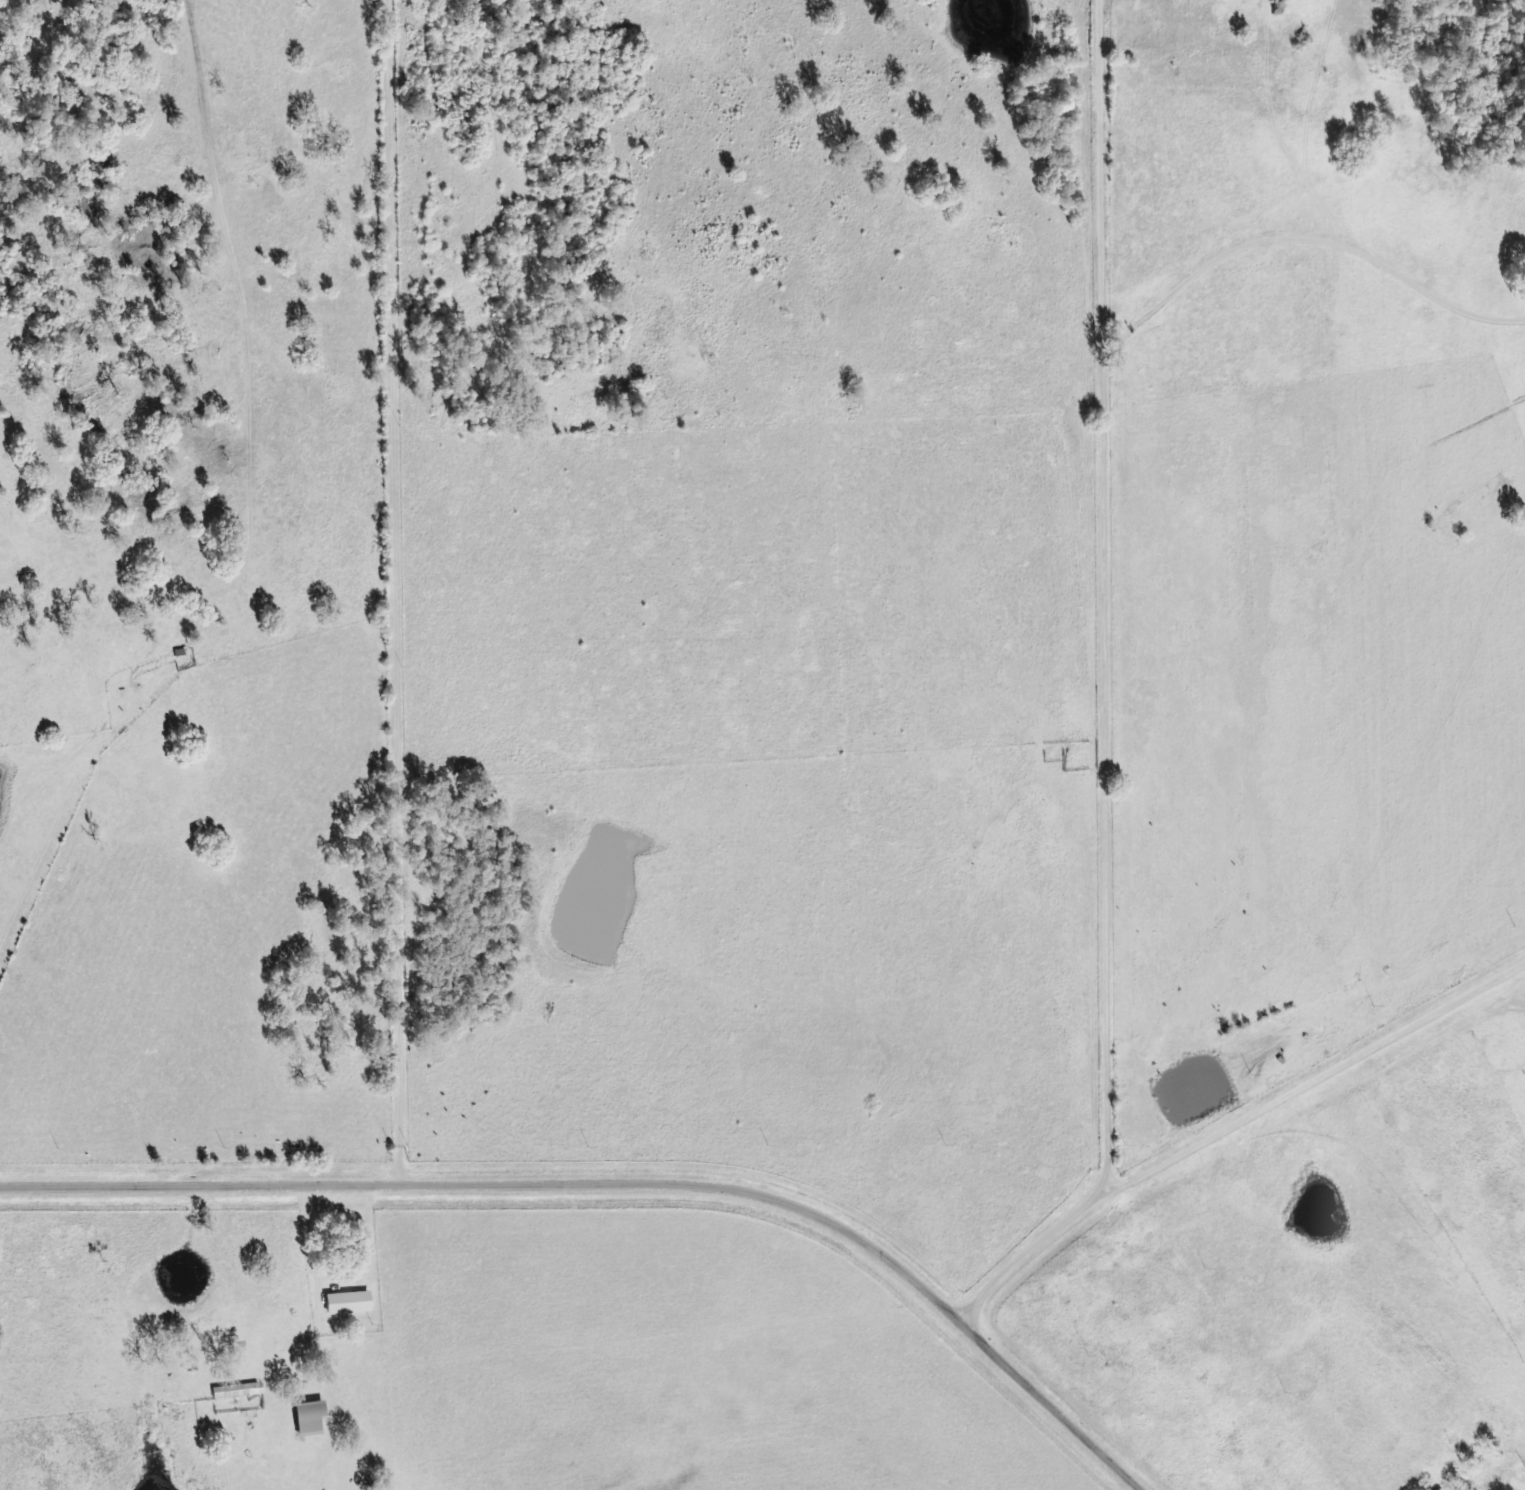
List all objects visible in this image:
road: (630, 1180)
building: (350, 1303)
building: (238, 1391)
building: (312, 1418)

